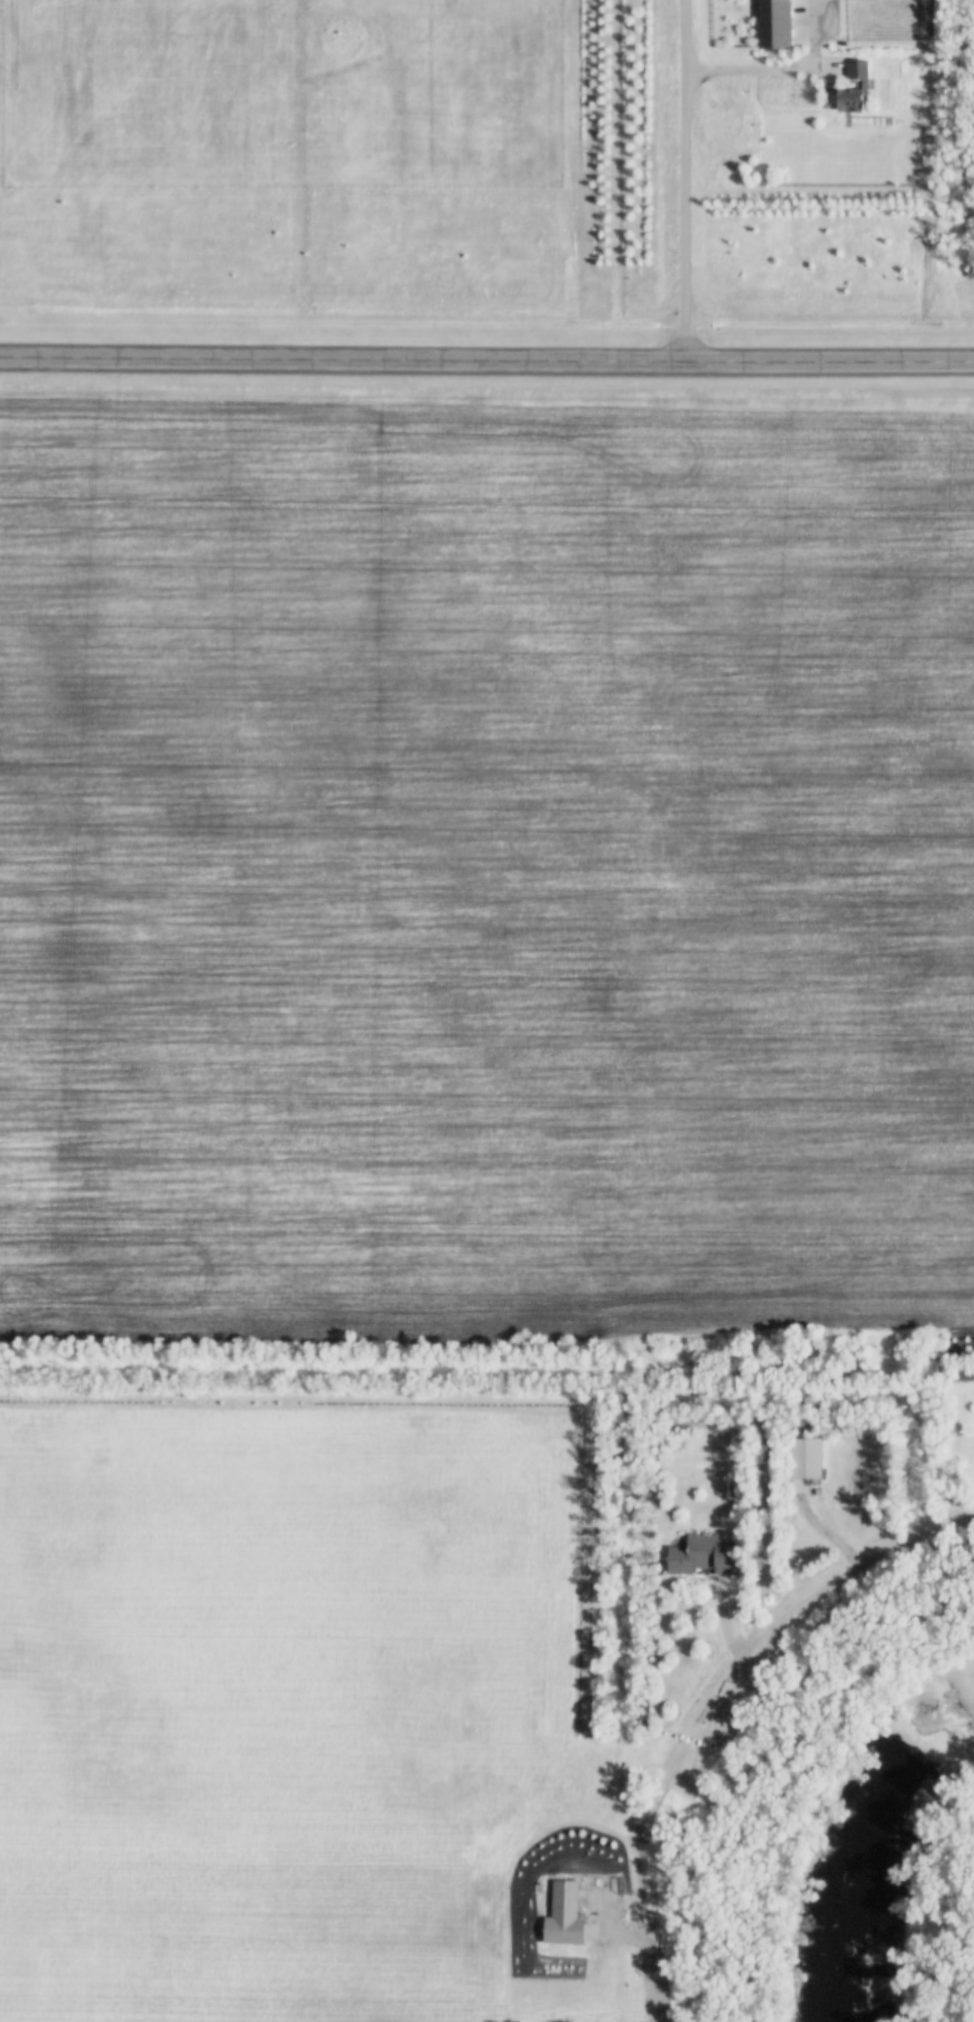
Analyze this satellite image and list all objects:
road: (780, 67)
building: (861, 70)
building: (849, 100)
road: (683, 181)
road: (486, 361)
building: (811, 1457)
building: (709, 1556)
road: (852, 1572)
road: (657, 1981)

